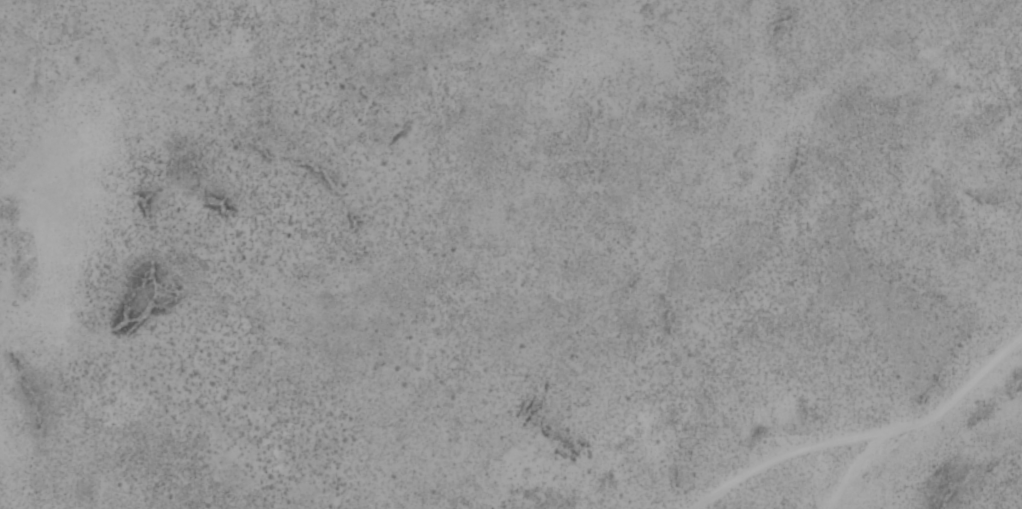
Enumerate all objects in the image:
road: (897, 428)

